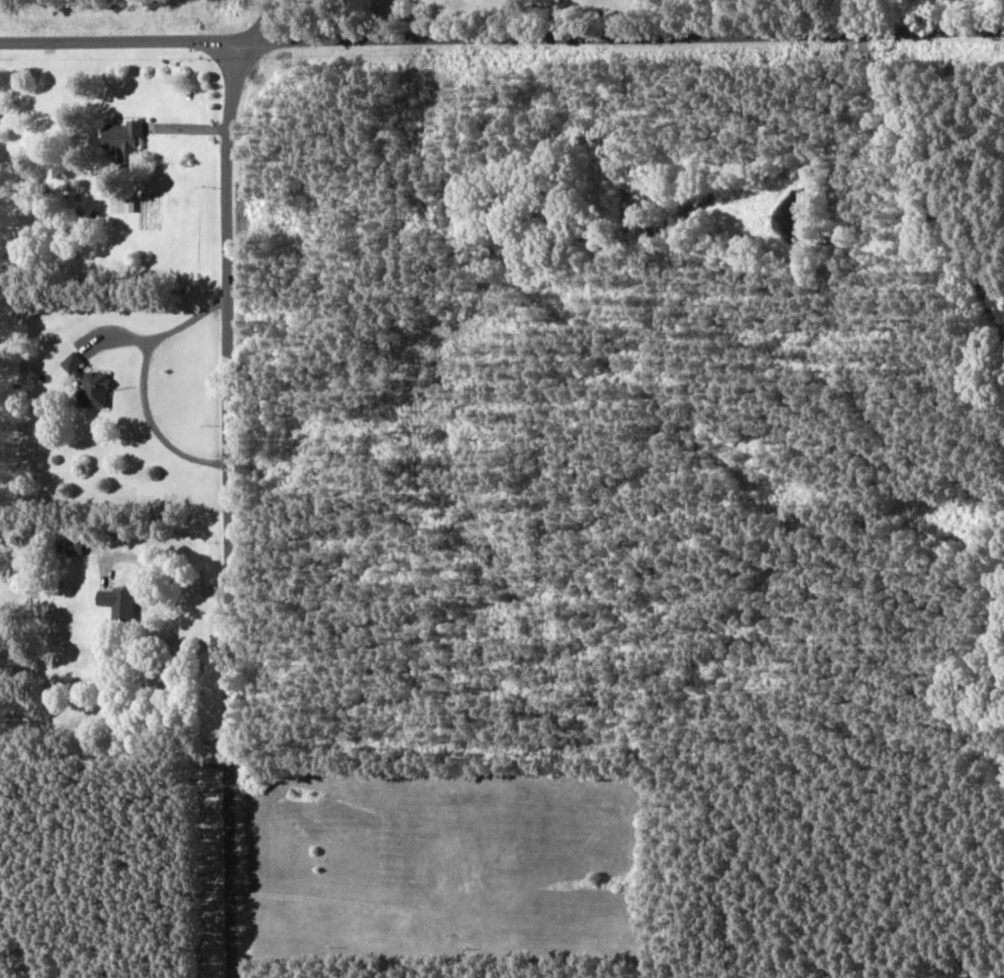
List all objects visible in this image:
road: (501, 36)
building: (122, 135)
building: (123, 204)
building: (71, 362)
building: (94, 389)
road: (226, 484)
building: (117, 602)

